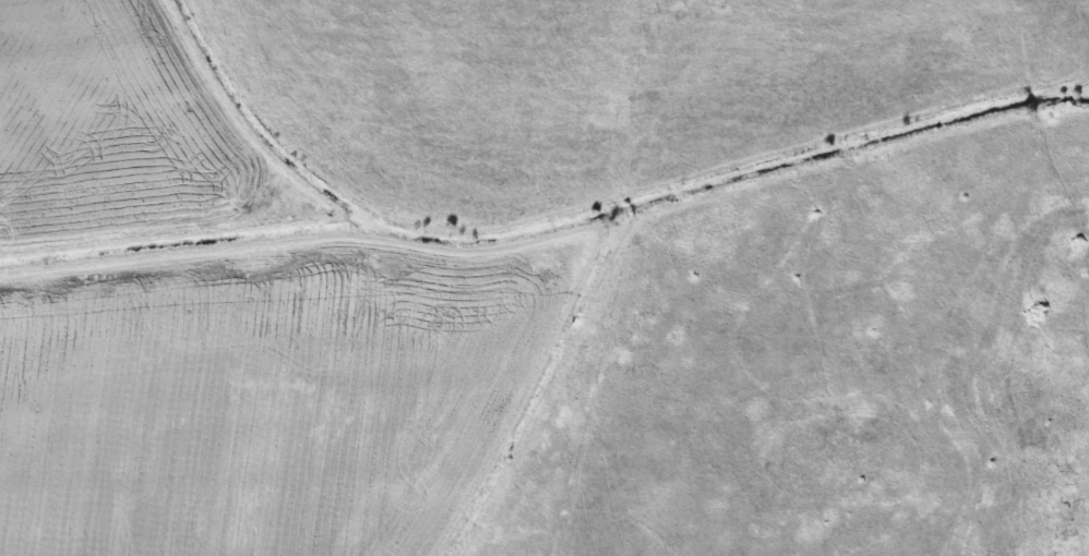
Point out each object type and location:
airport runway: (128, 197)

